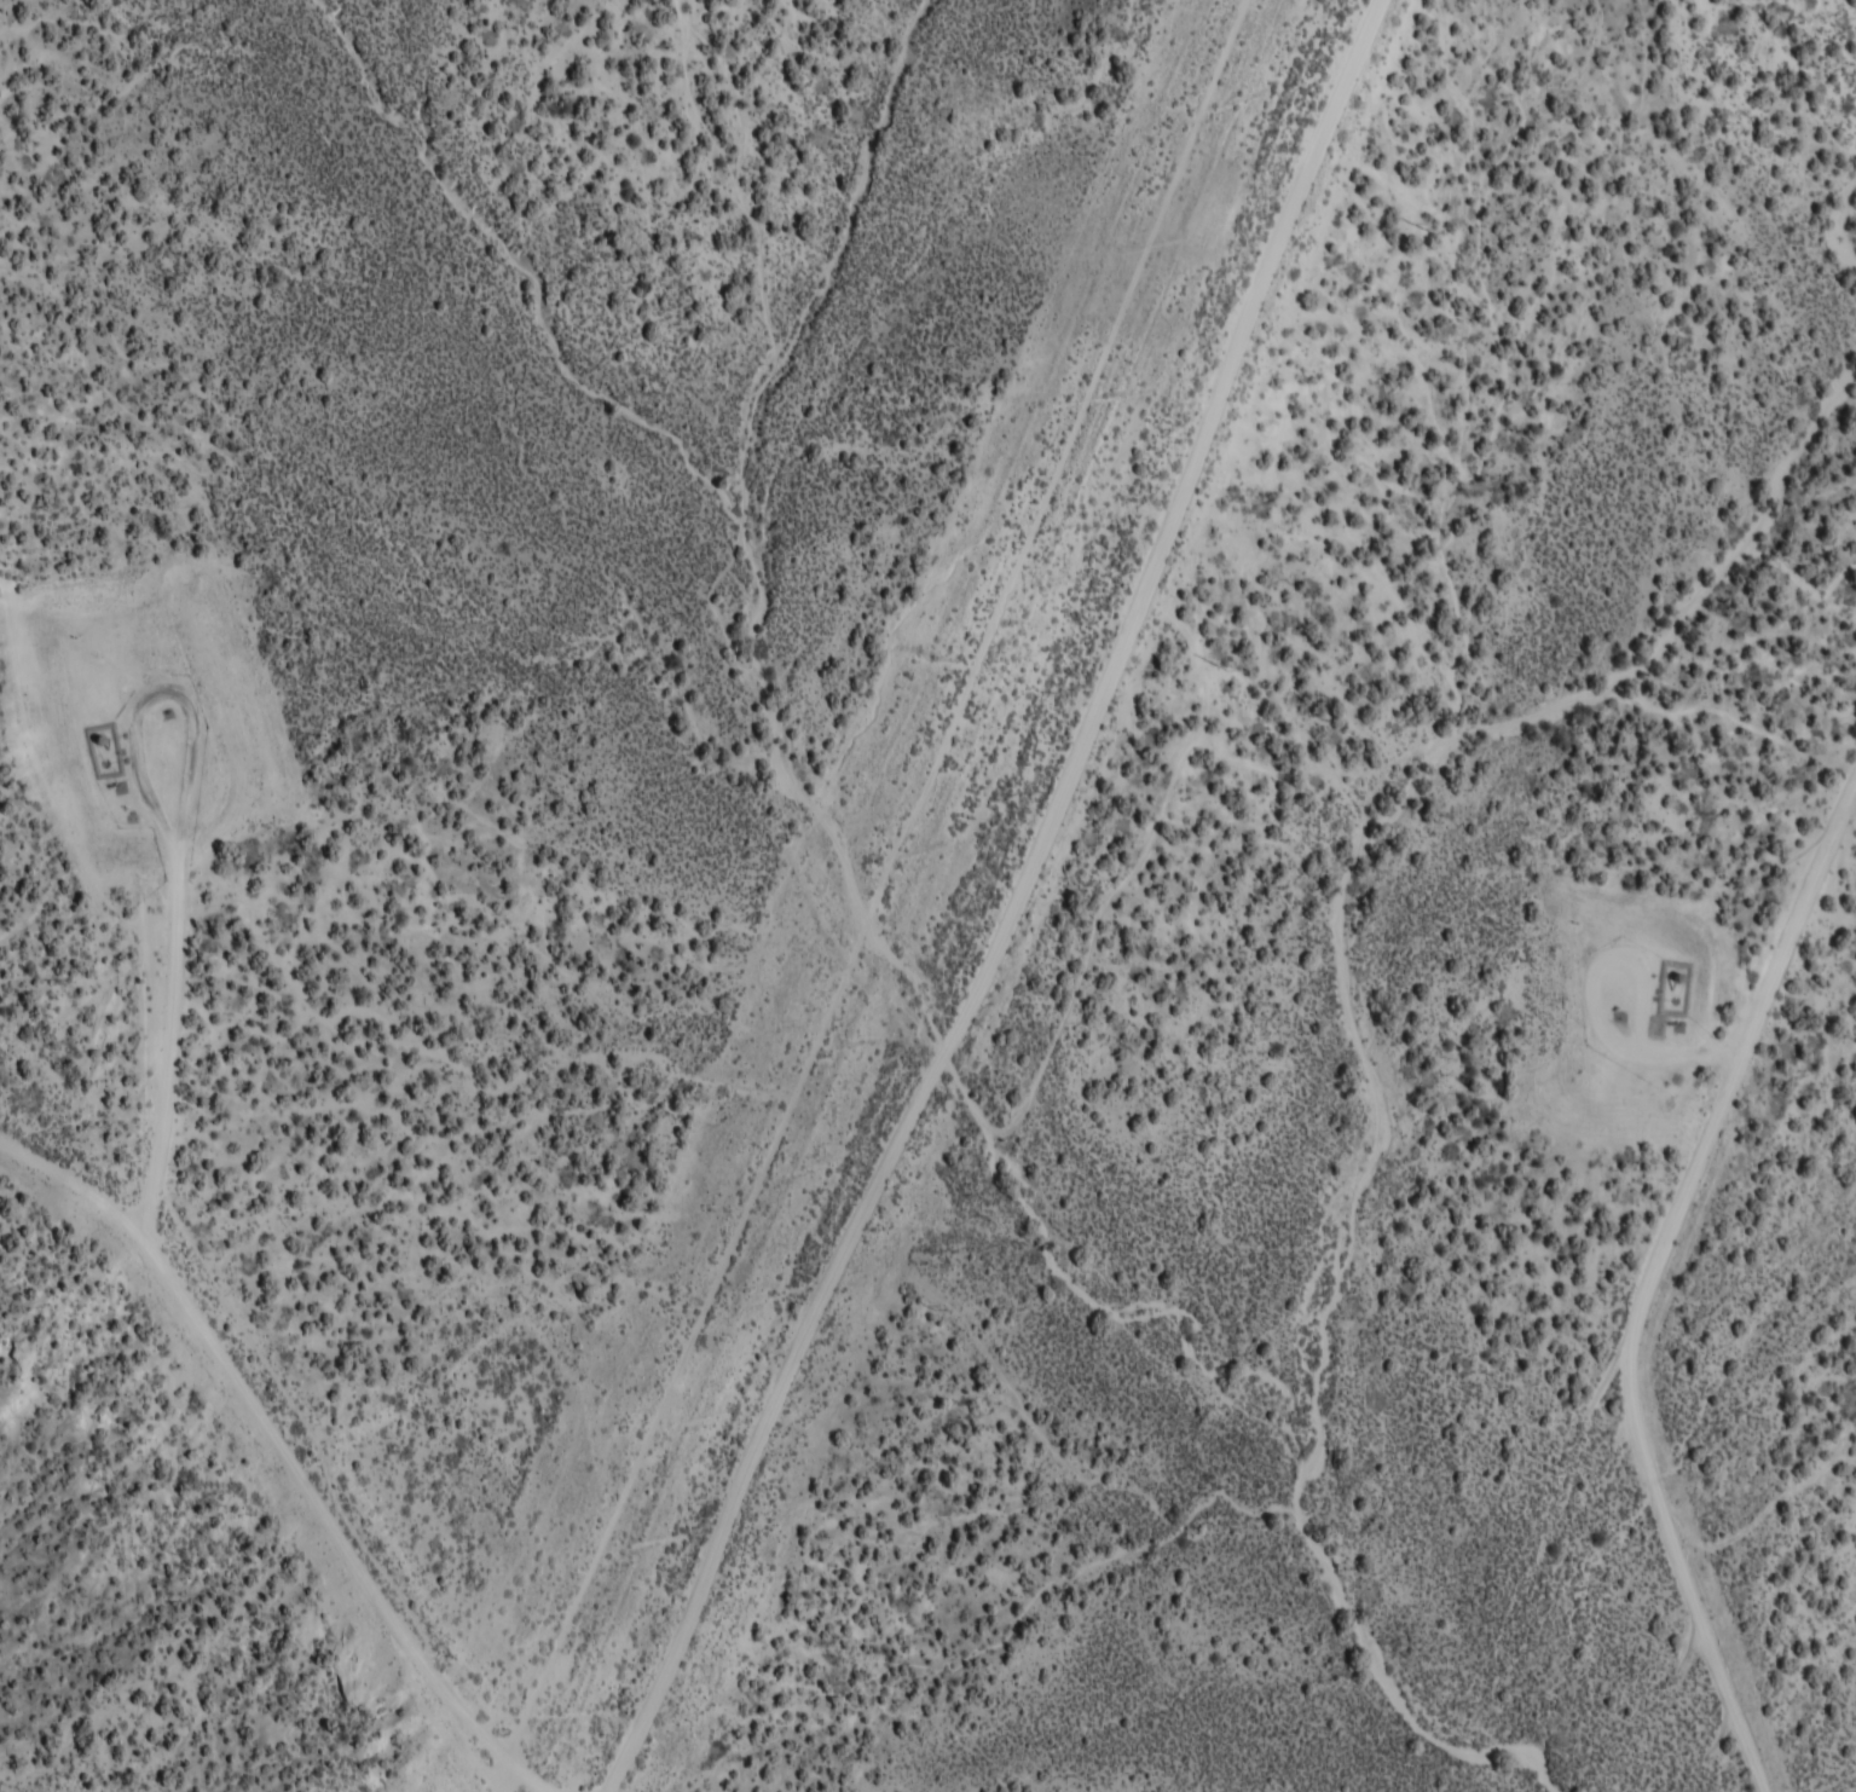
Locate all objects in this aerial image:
road: (1014, 906)
building: (1673, 990)
river: (1050, 1251)
road: (1667, 1281)
road: (285, 1457)

